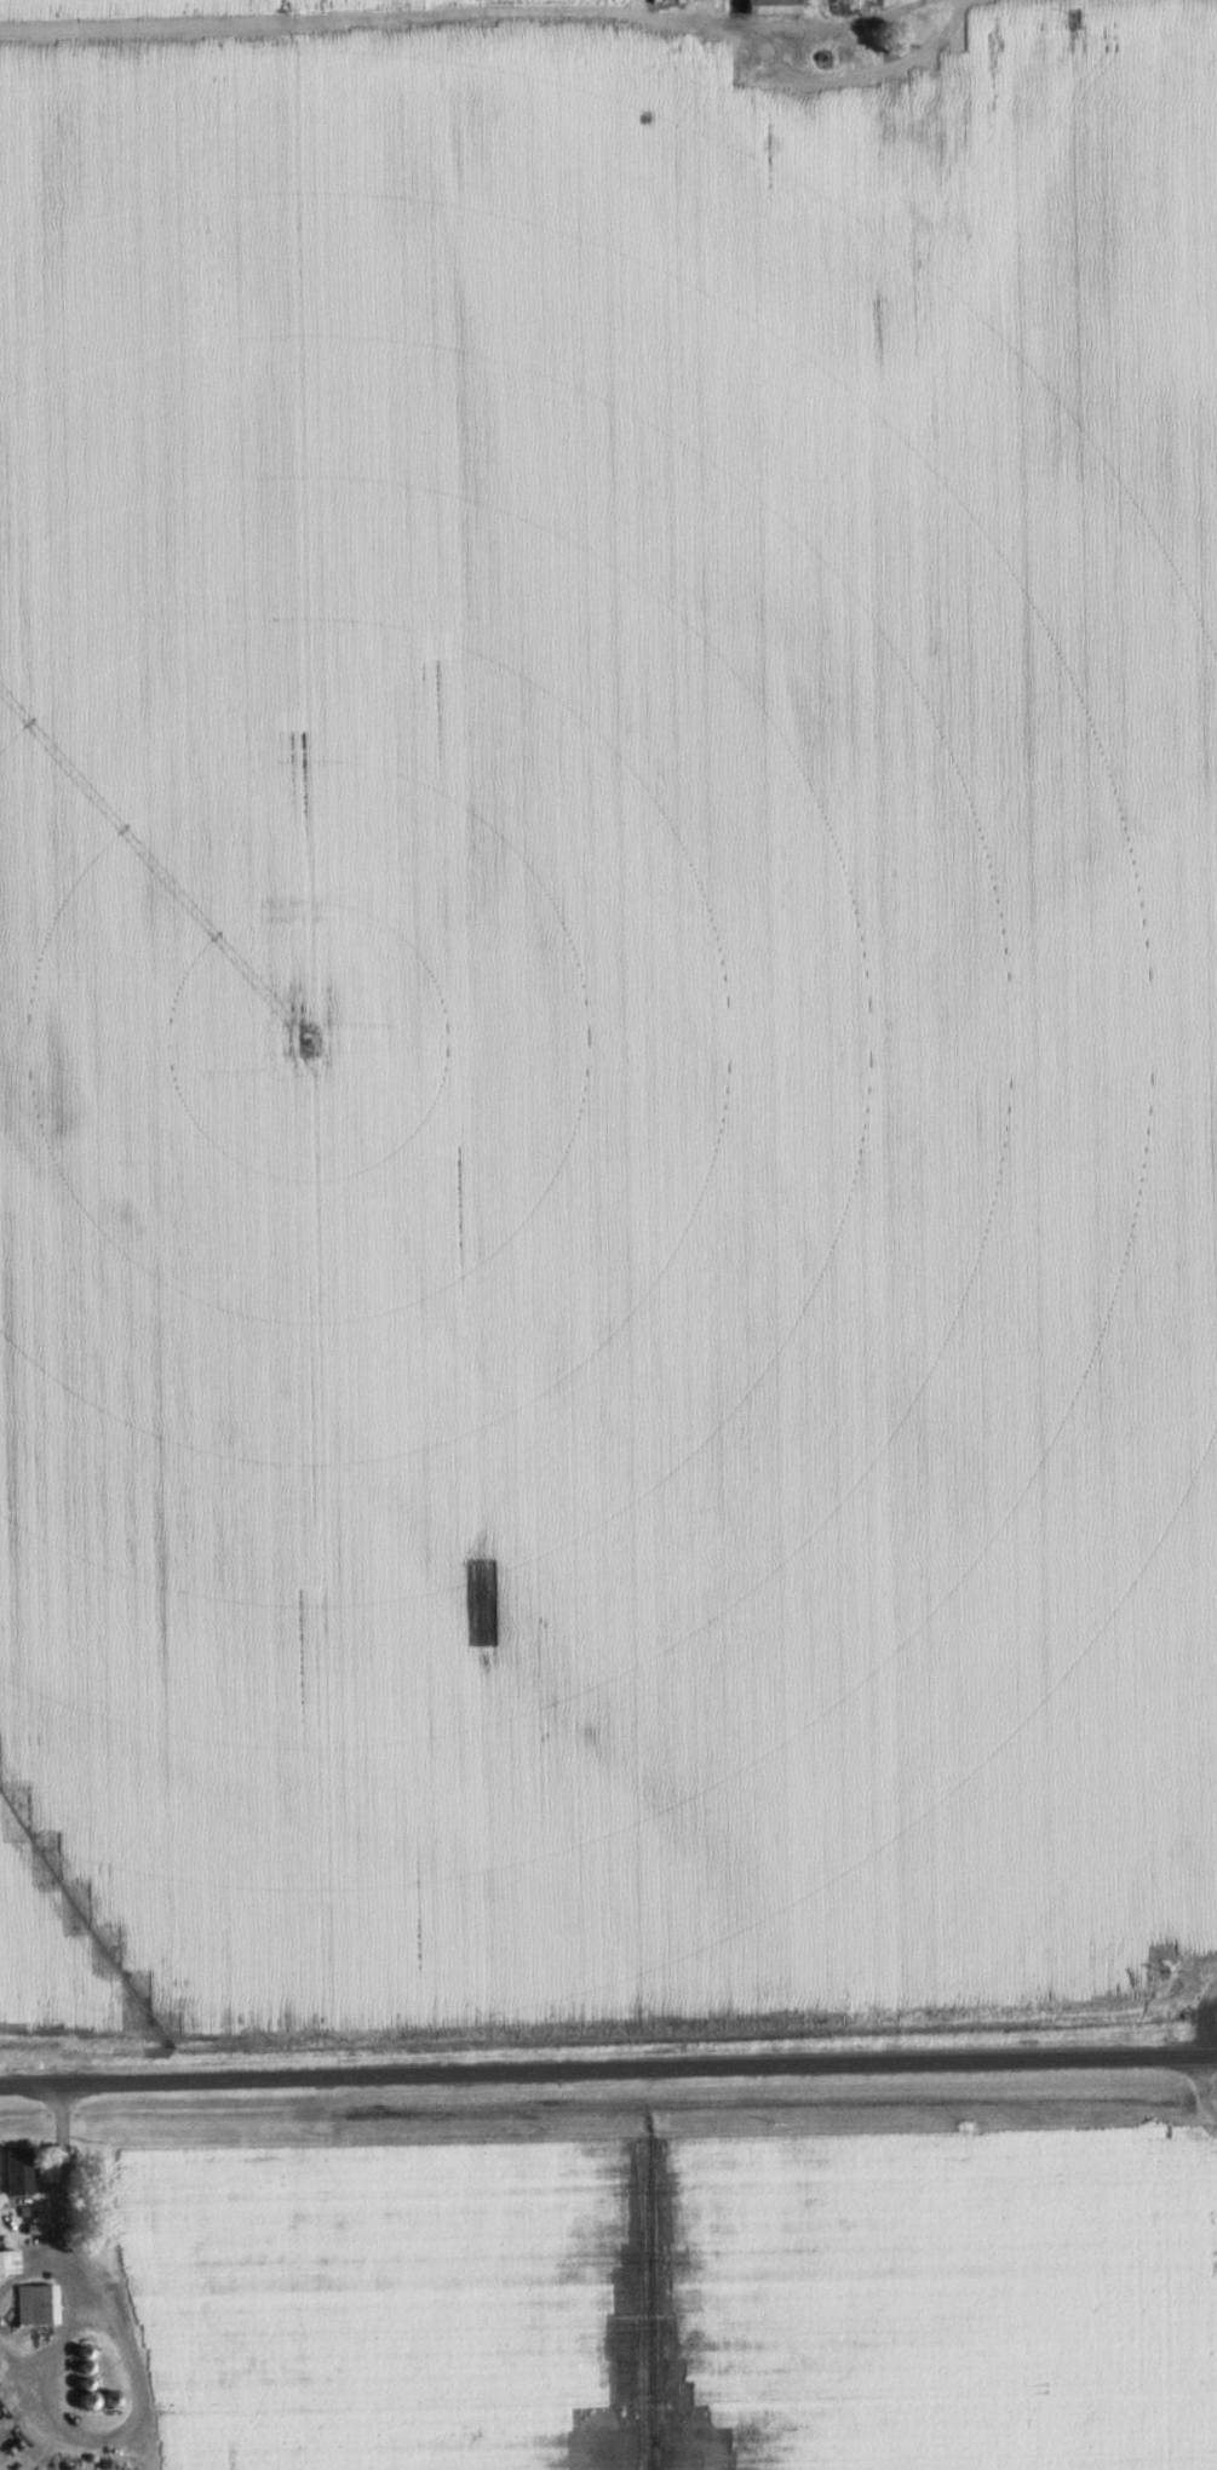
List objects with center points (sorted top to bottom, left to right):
building: (667, 1)
building: (771, 7)
road: (458, 16)
road: (1204, 2050)
road: (608, 2064)
building: (18, 2172)
building: (10, 2262)
building: (38, 2304)

